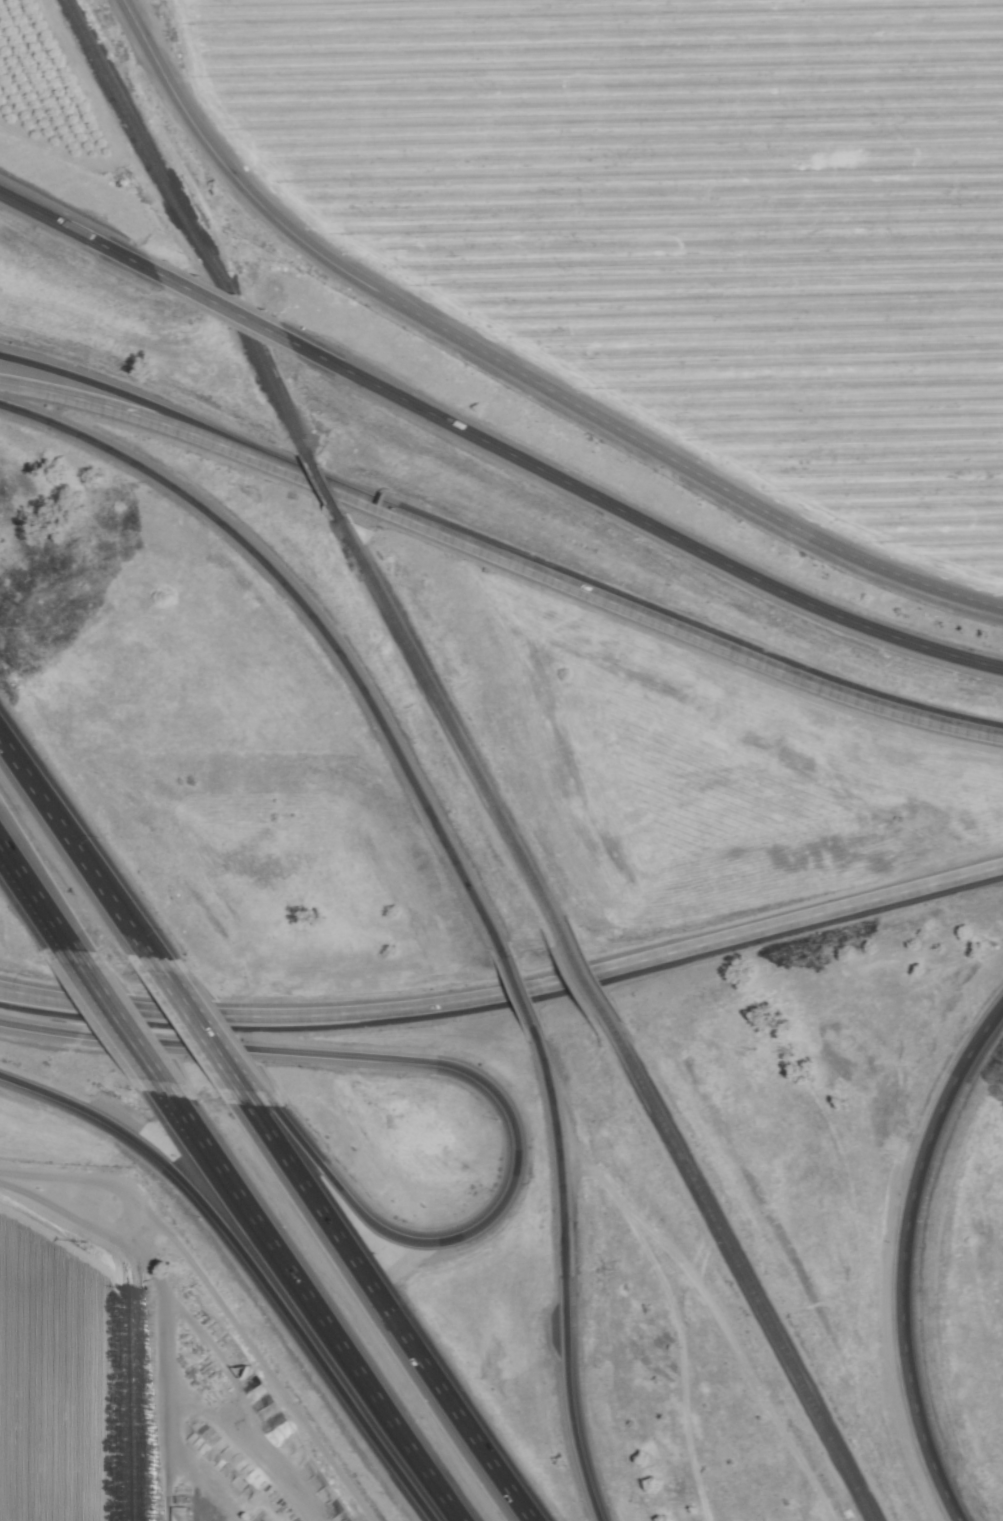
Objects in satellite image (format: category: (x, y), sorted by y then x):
railway: (185, 226)
road: (77, 233)
road: (237, 313)
road: (509, 369)
road: (107, 392)
road: (106, 405)
railway: (323, 486)
road: (655, 528)
road: (603, 599)
road: (312, 626)
railway: (449, 723)
road: (83, 848)
road: (33, 913)
road: (145, 930)
railway: (584, 977)
road: (507, 991)
road: (521, 996)
road: (106, 1019)
road: (204, 1031)
road: (224, 1034)
road: (977, 1038)
road: (466, 1070)
road: (60, 1197)
road: (202, 1207)
railway: (741, 1274)
road: (563, 1278)
road: (901, 1297)
road: (292, 1299)
road: (387, 1306)
road: (712, 1316)
road: (258, 1353)
road: (162, 1363)

